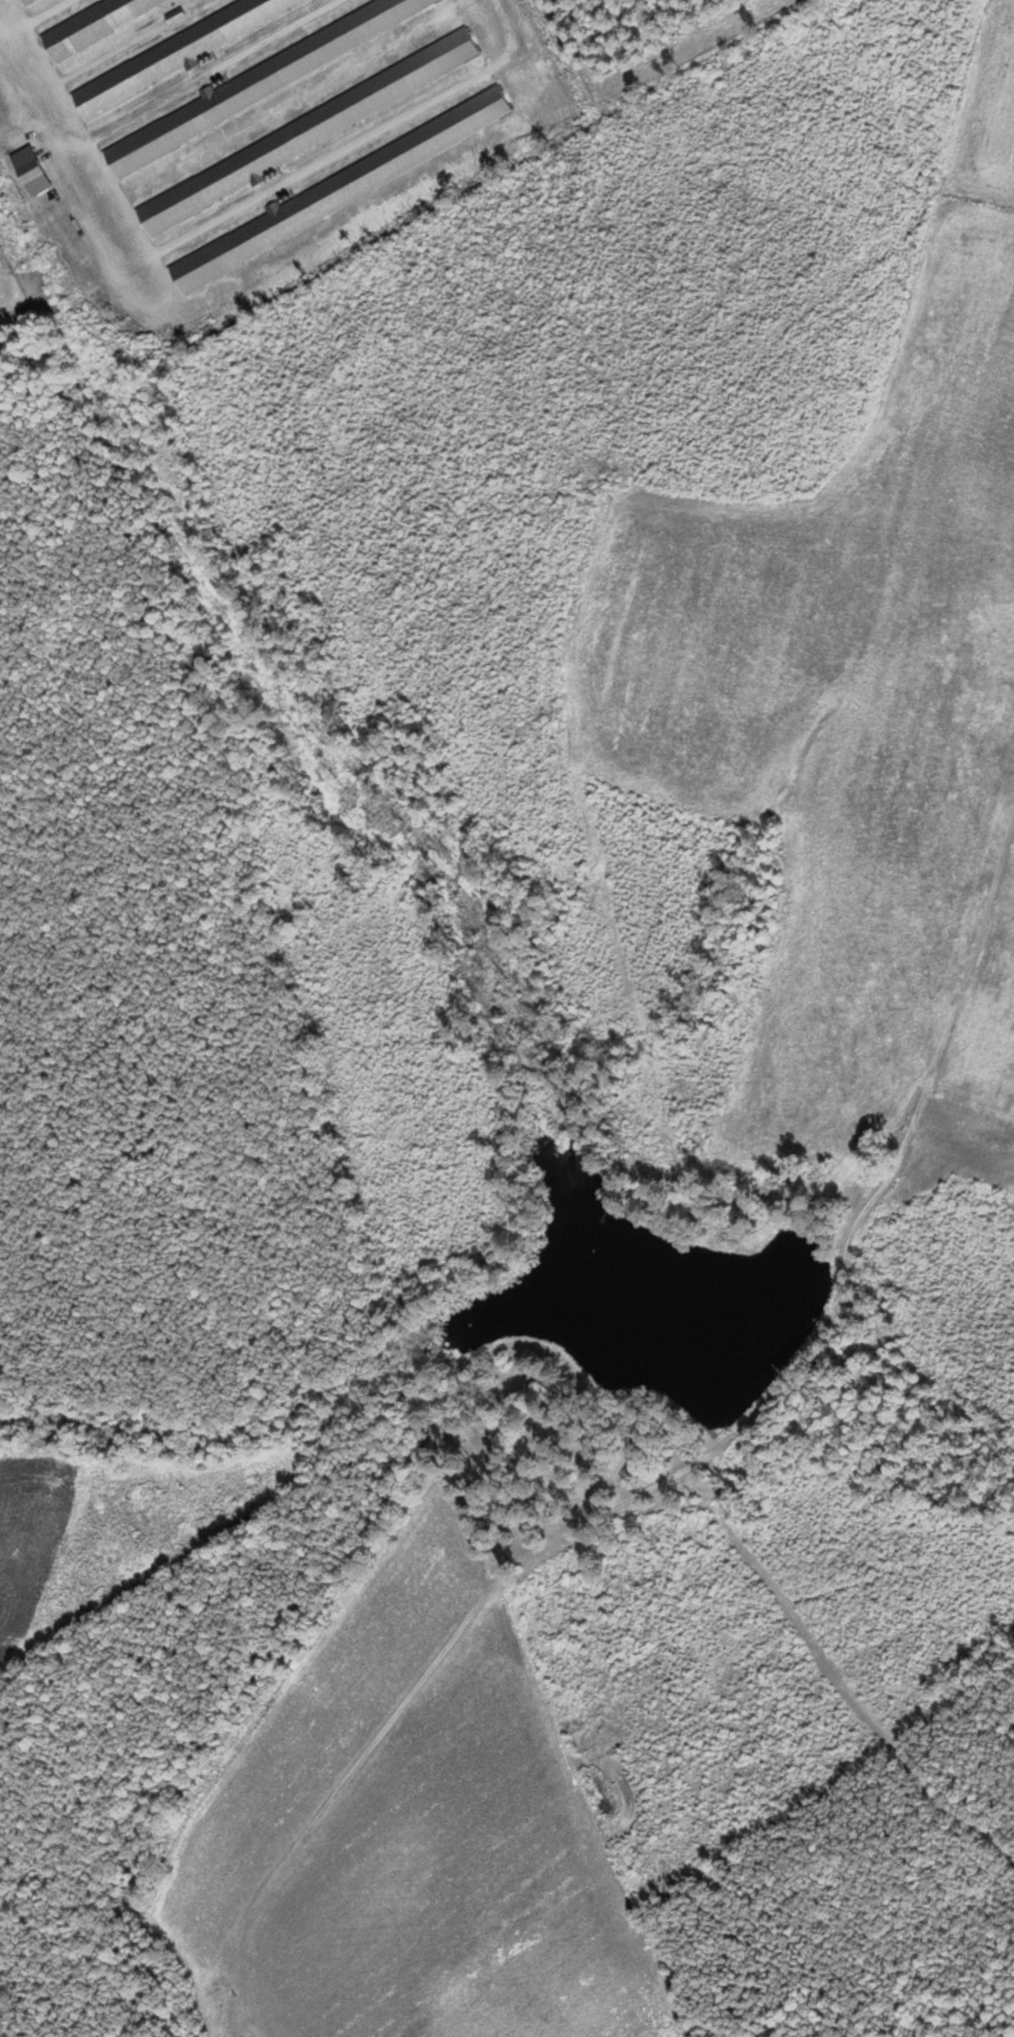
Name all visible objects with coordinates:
road: (415, 1688)

